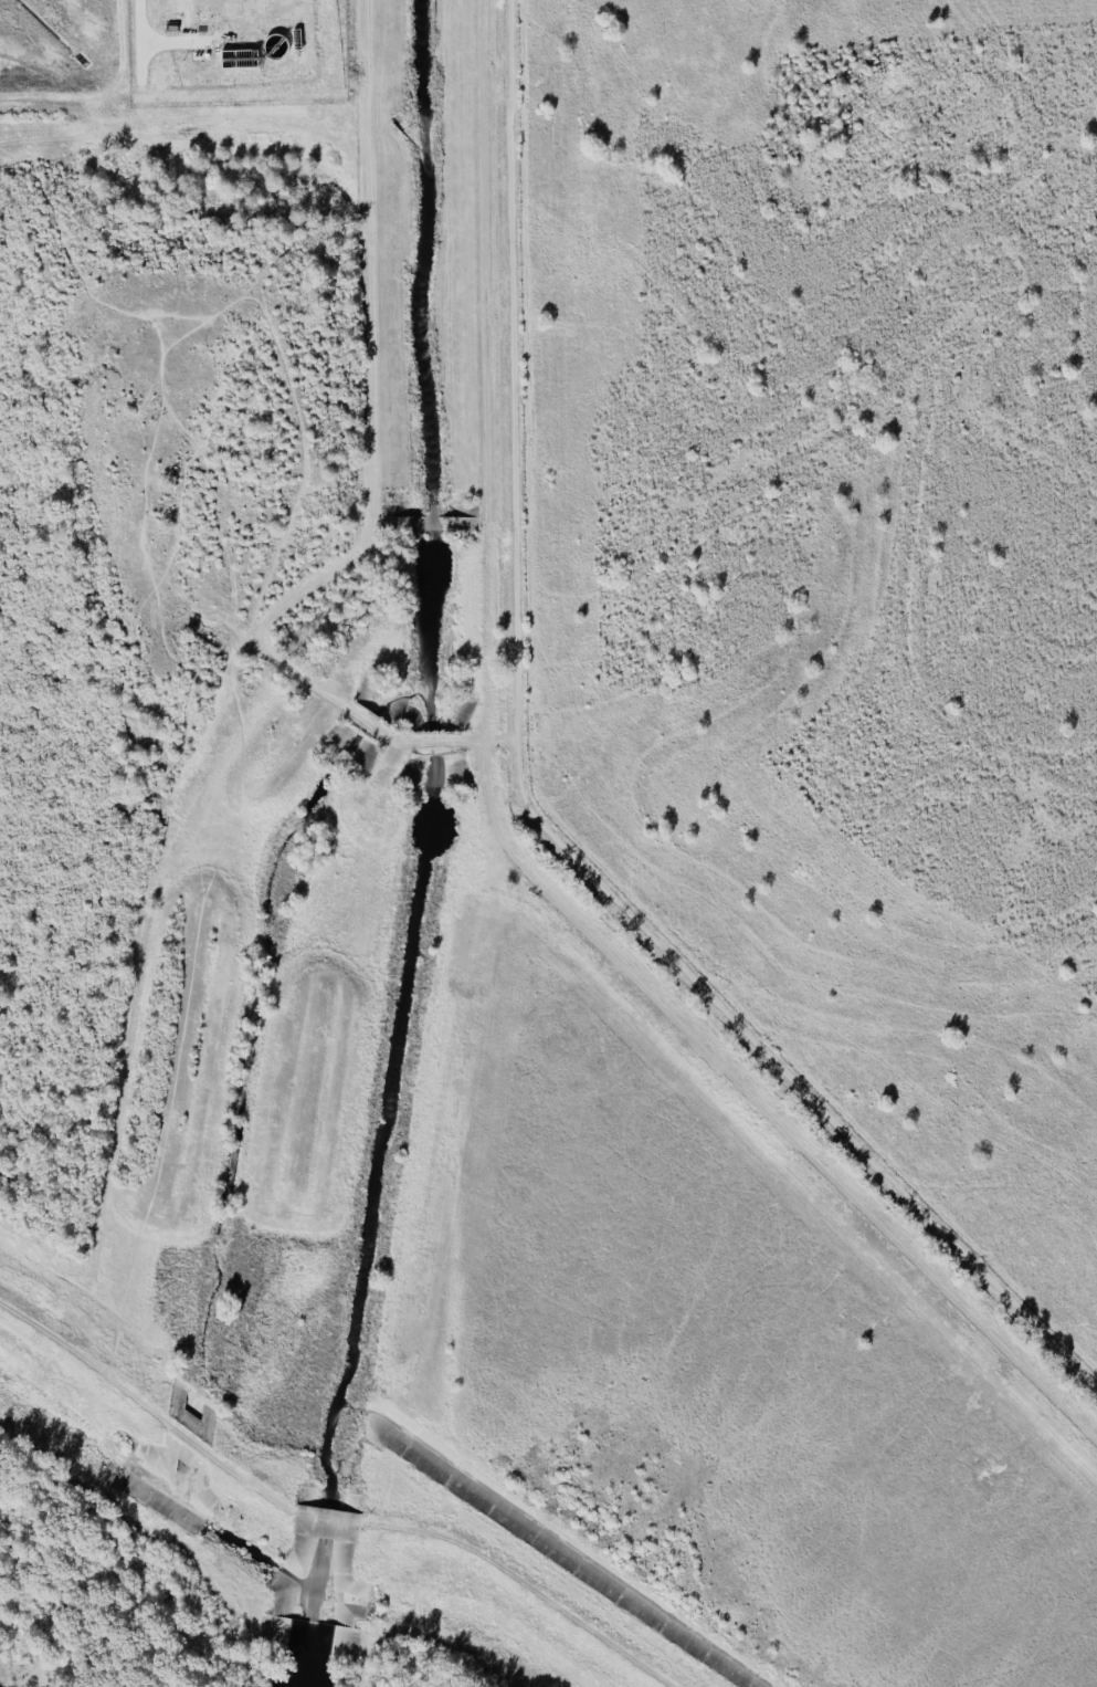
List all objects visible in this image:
road: (193, 86)

